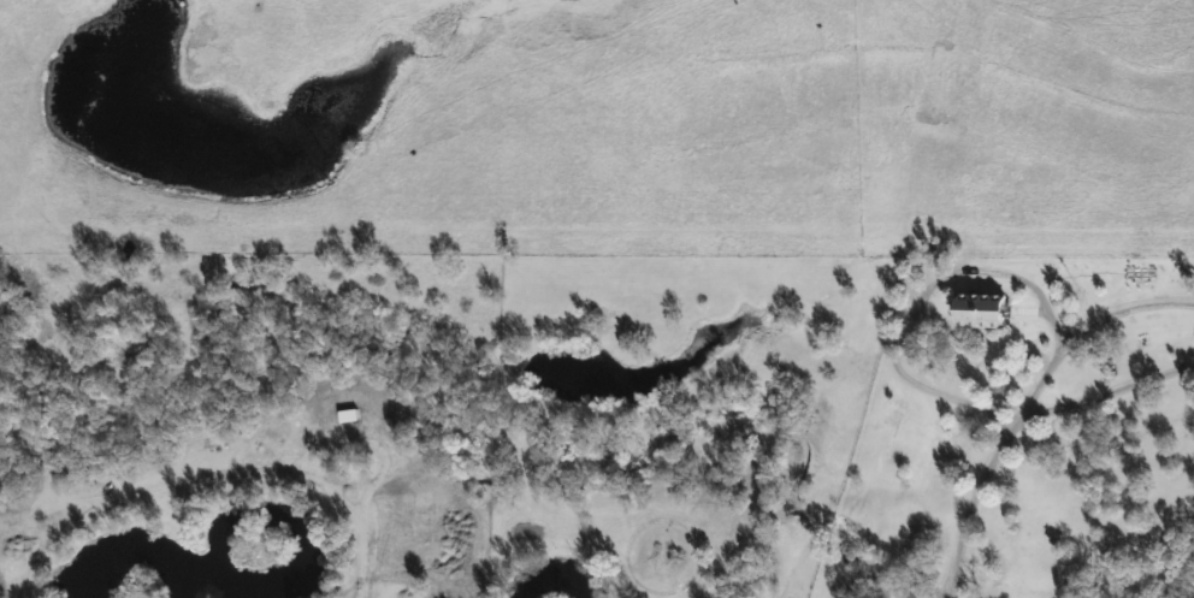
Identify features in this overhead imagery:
road: (906, 301)
building: (985, 309)
road: (1090, 324)
road: (1109, 390)
road: (971, 498)

